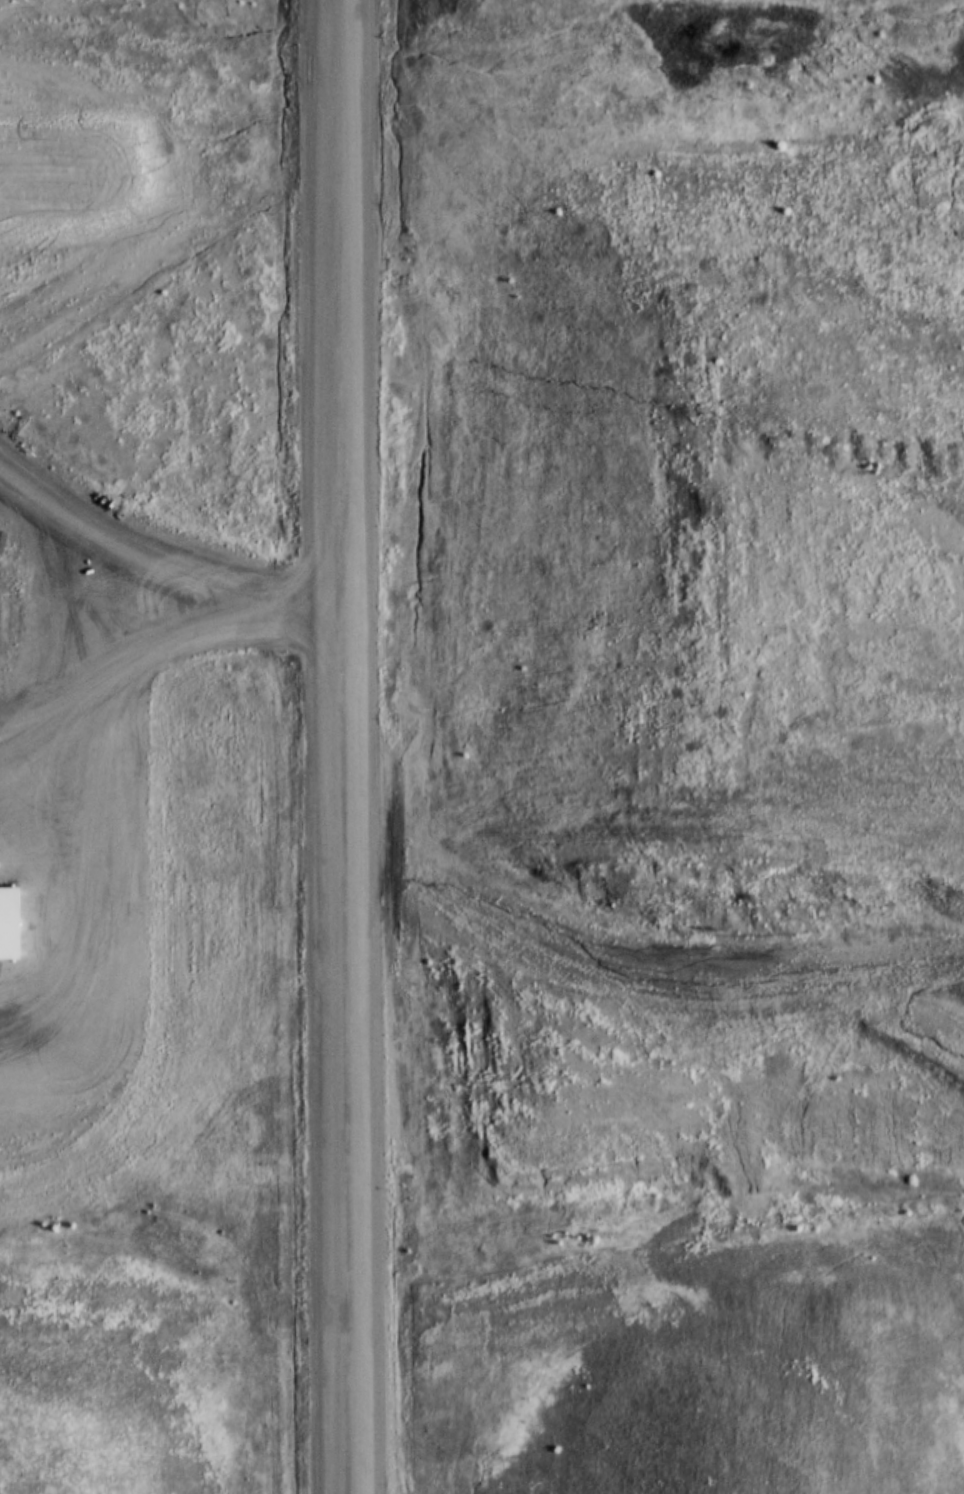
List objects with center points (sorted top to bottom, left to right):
quarry: (482, 747)
building: (12, 924)

